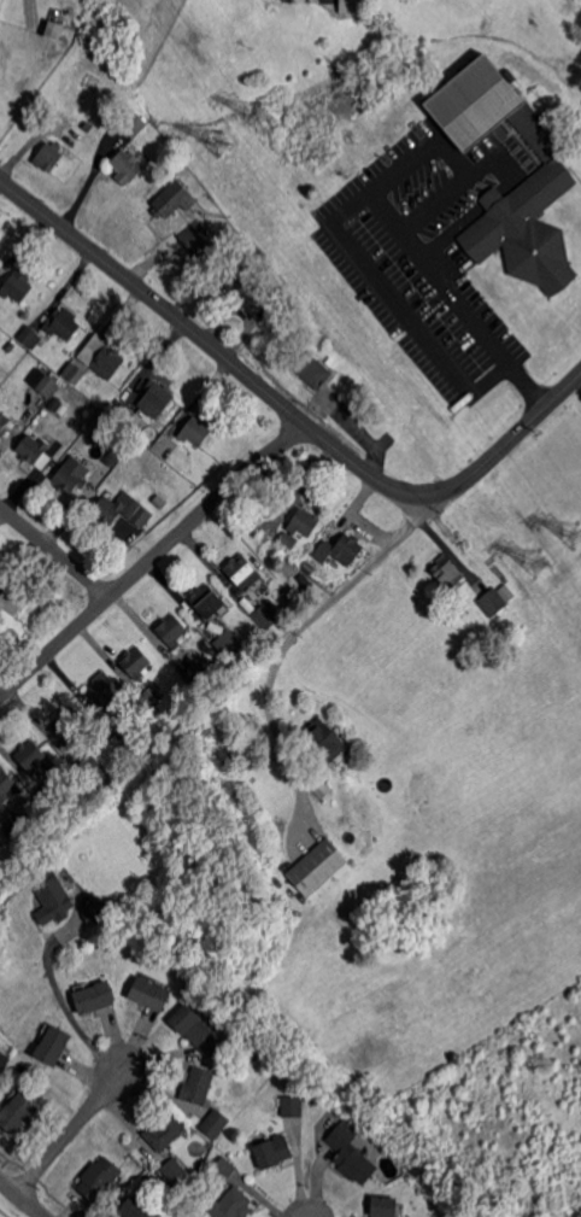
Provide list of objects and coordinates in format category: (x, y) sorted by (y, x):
building: (0, 0)
building: (352, 6)
building: (52, 28)
power tower: (259, 115)
building: (134, 124)
power tower: (221, 145)
building: (49, 156)
building: (127, 165)
building: (552, 176)
building: (172, 198)
building: (194, 238)
parking lot: (428, 251)
road: (438, 271)
building: (236, 277)
building: (17, 288)
road: (391, 294)
building: (277, 299)
building: (64, 324)
building: (31, 338)
building: (10, 346)
building: (17, 351)
building: (108, 363)
building: (342, 365)
building: (311, 369)
building: (75, 373)
building: (45, 381)
building: (157, 398)
building: (106, 402)
building: (54, 403)
road: (287, 406)
building: (123, 413)
building: (4, 423)
building: (196, 431)
building: (166, 446)
building: (34, 449)
building: (111, 460)
building: (72, 474)
building: (123, 510)
building: (300, 527)
power tower: (577, 533)
building: (341, 548)
road: (54, 550)
road: (152, 558)
power tower: (540, 563)
building: (242, 574)
building: (450, 574)
building: (495, 599)
building: (13, 601)
building: (207, 601)
building: (268, 616)
building: (172, 631)
road: (293, 634)
building: (265, 643)
building: (230, 644)
building: (136, 662)
building: (196, 675)
building: (105, 690)
building: (149, 700)
building: (196, 704)
building: (69, 726)
building: (125, 741)
building: (325, 741)
building: (35, 757)
building: (93, 770)
building: (8, 786)
building: (323, 789)
building: (52, 795)
building: (17, 825)
building: (318, 868)
building: (51, 897)
building: (98, 913)
building: (151, 994)
building: (95, 996)
road: (66, 1010)
building: (196, 1029)
building: (54, 1045)
building: (4, 1061)
building: (221, 1067)
building: (198, 1086)
building: (292, 1105)
building: (18, 1112)
building: (215, 1123)
building: (164, 1131)
road: (65, 1133)
building: (272, 1153)
building: (351, 1155)
building: (225, 1168)
building: (174, 1169)
building: (148, 1177)
building: (100, 1178)
road: (23, 1196)
building: (411, 1196)
building: (233, 1204)
building: (385, 1206)
building: (136, 1209)

